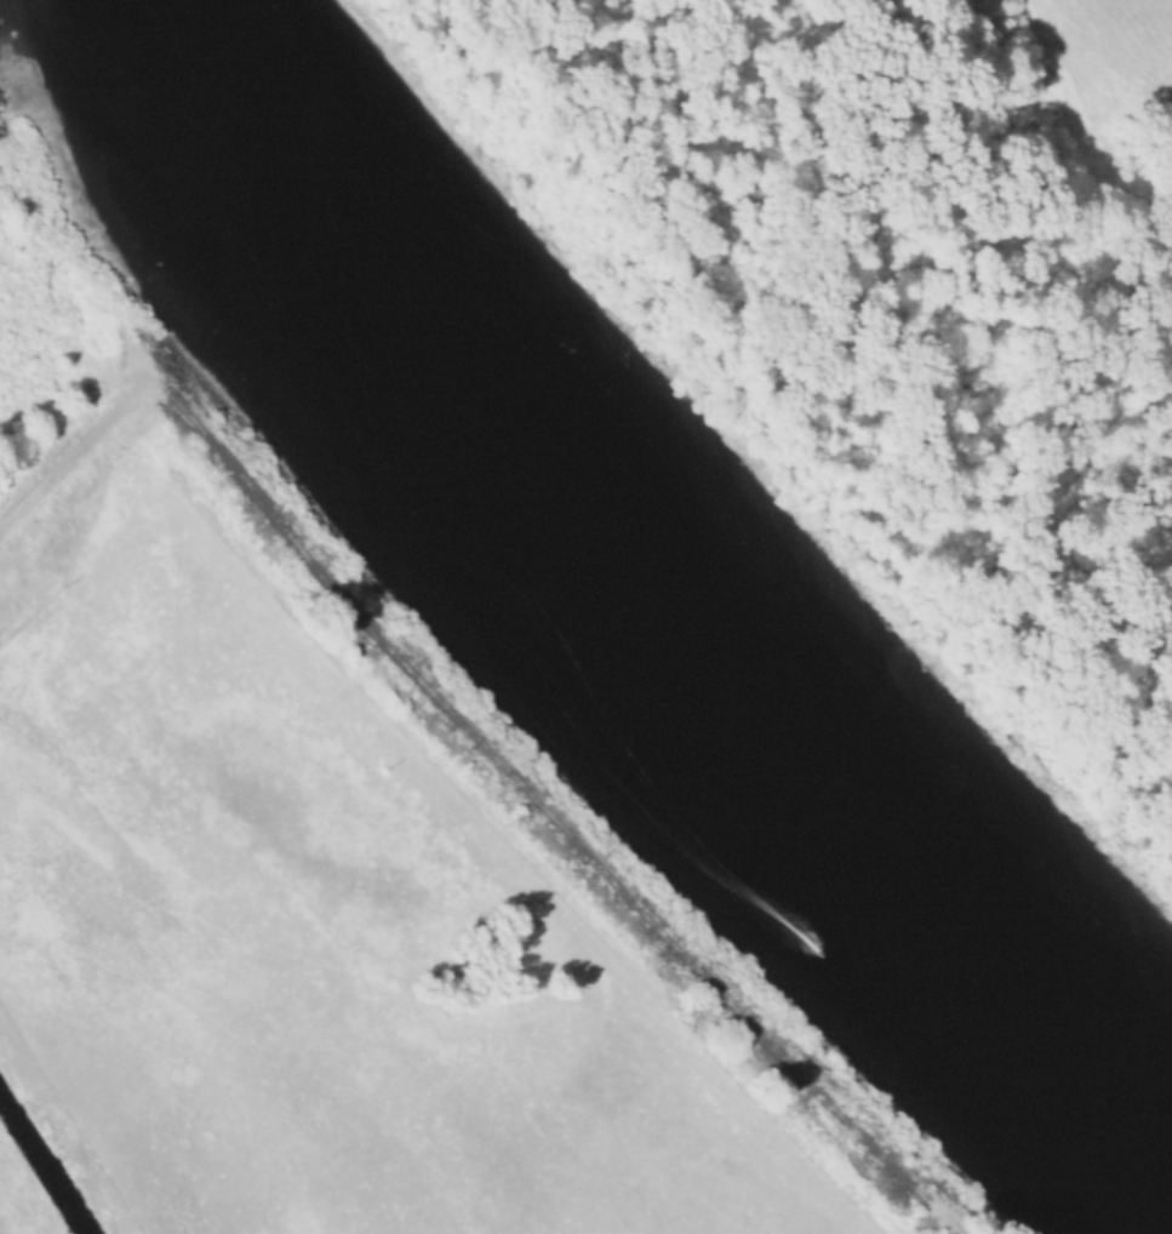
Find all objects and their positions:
river: (608, 571)
road: (481, 743)

